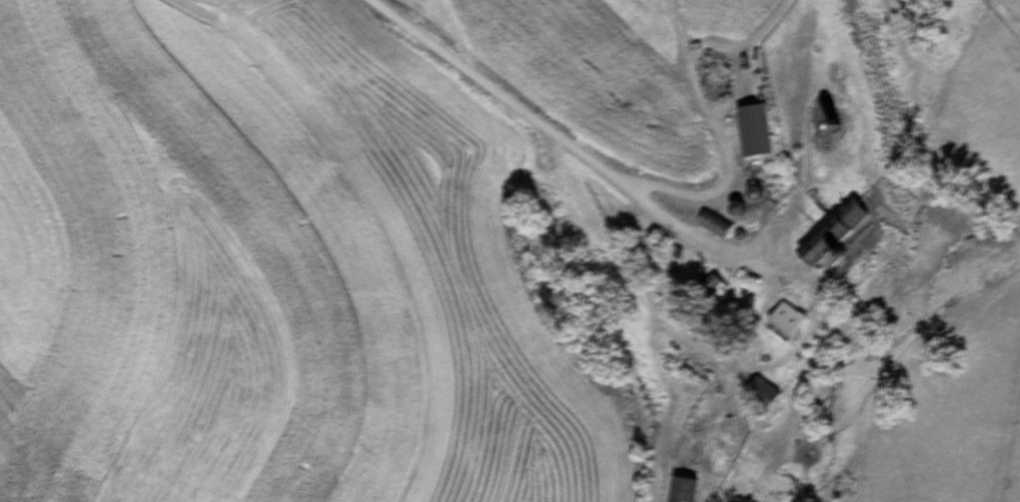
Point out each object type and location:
road: (540, 132)
building: (749, 133)
building: (711, 227)
building: (826, 240)
building: (706, 292)
building: (785, 321)
building: (755, 394)
building: (679, 490)

